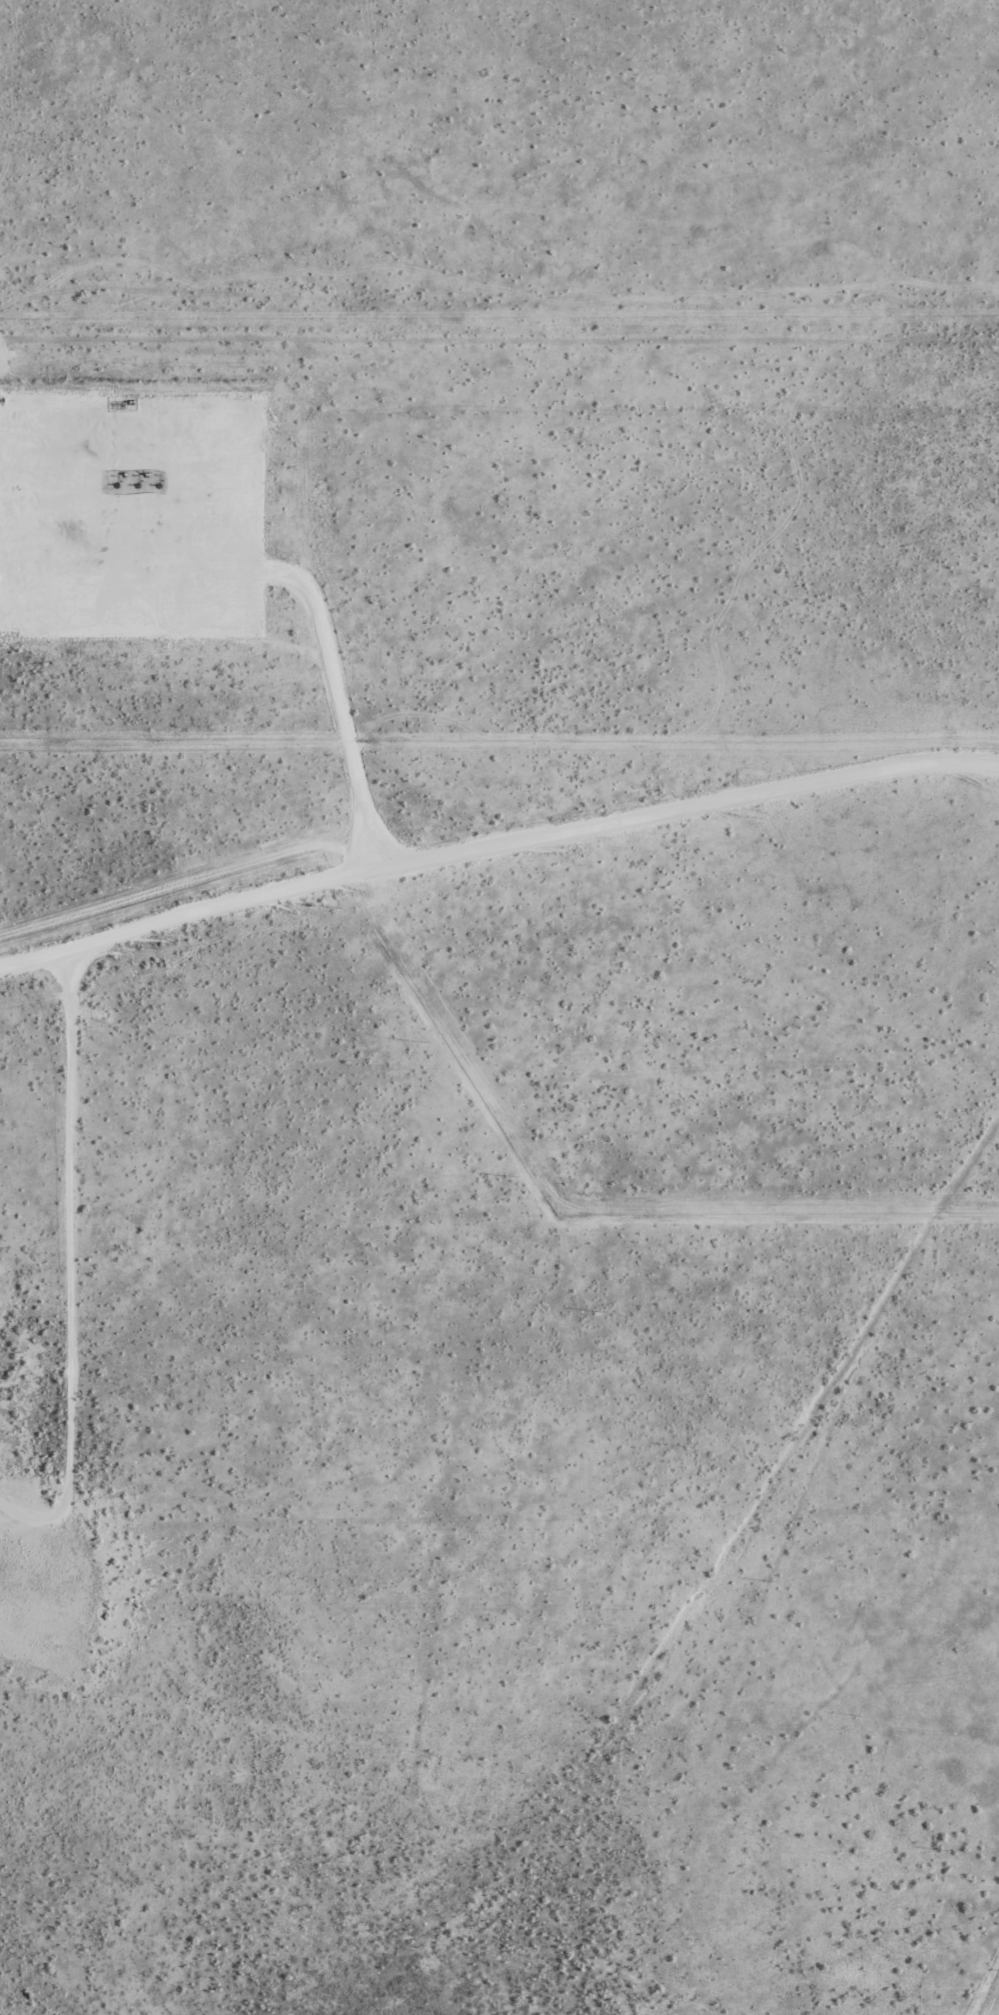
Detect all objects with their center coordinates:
petroleum well: (115, 485)
petroleum well: (136, 485)
petroleum well: (157, 485)
road: (298, 576)
road: (496, 840)
road: (72, 1238)

